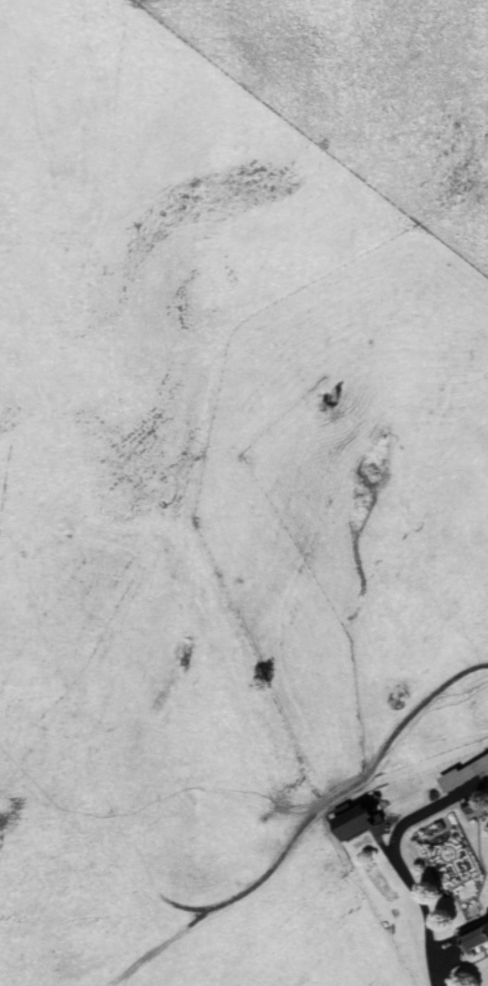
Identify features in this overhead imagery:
building: (464, 772)
building: (348, 822)
road: (399, 865)
building: (473, 937)

